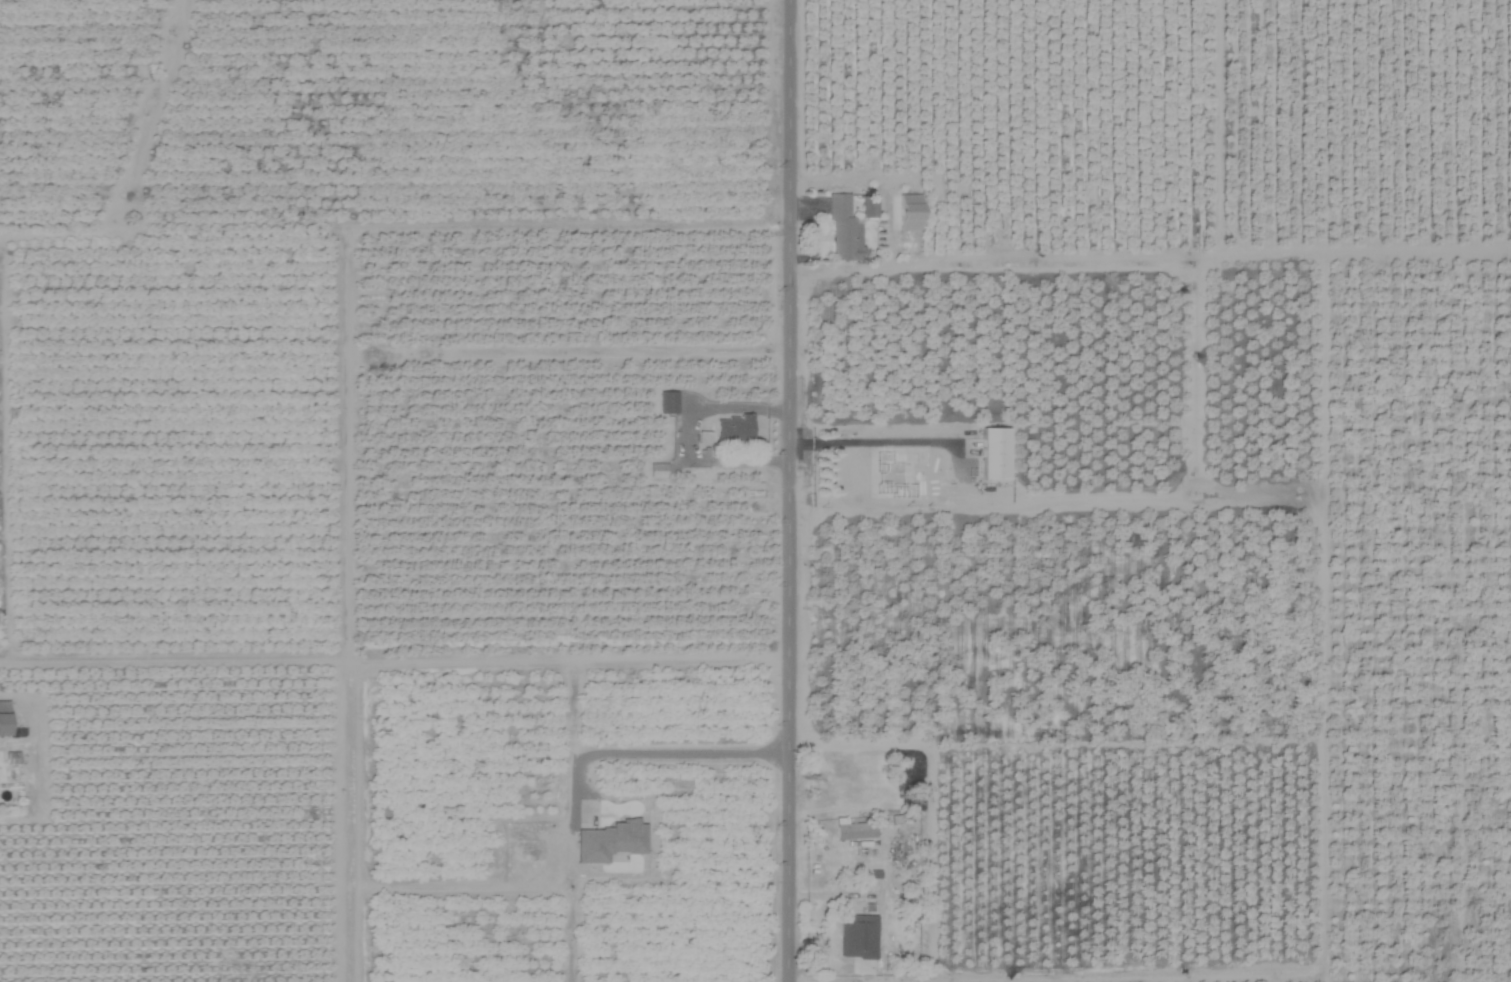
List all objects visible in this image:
building: (906, 212)
road: (501, 225)
building: (845, 226)
road: (888, 230)
road: (412, 347)
building: (666, 402)
road: (701, 407)
road: (778, 408)
building: (732, 428)
building: (992, 453)
building: (656, 470)
road: (959, 470)
road: (790, 491)
road: (173, 652)
road: (406, 657)
building: (2, 719)
road: (653, 753)
building: (854, 831)
building: (843, 937)

